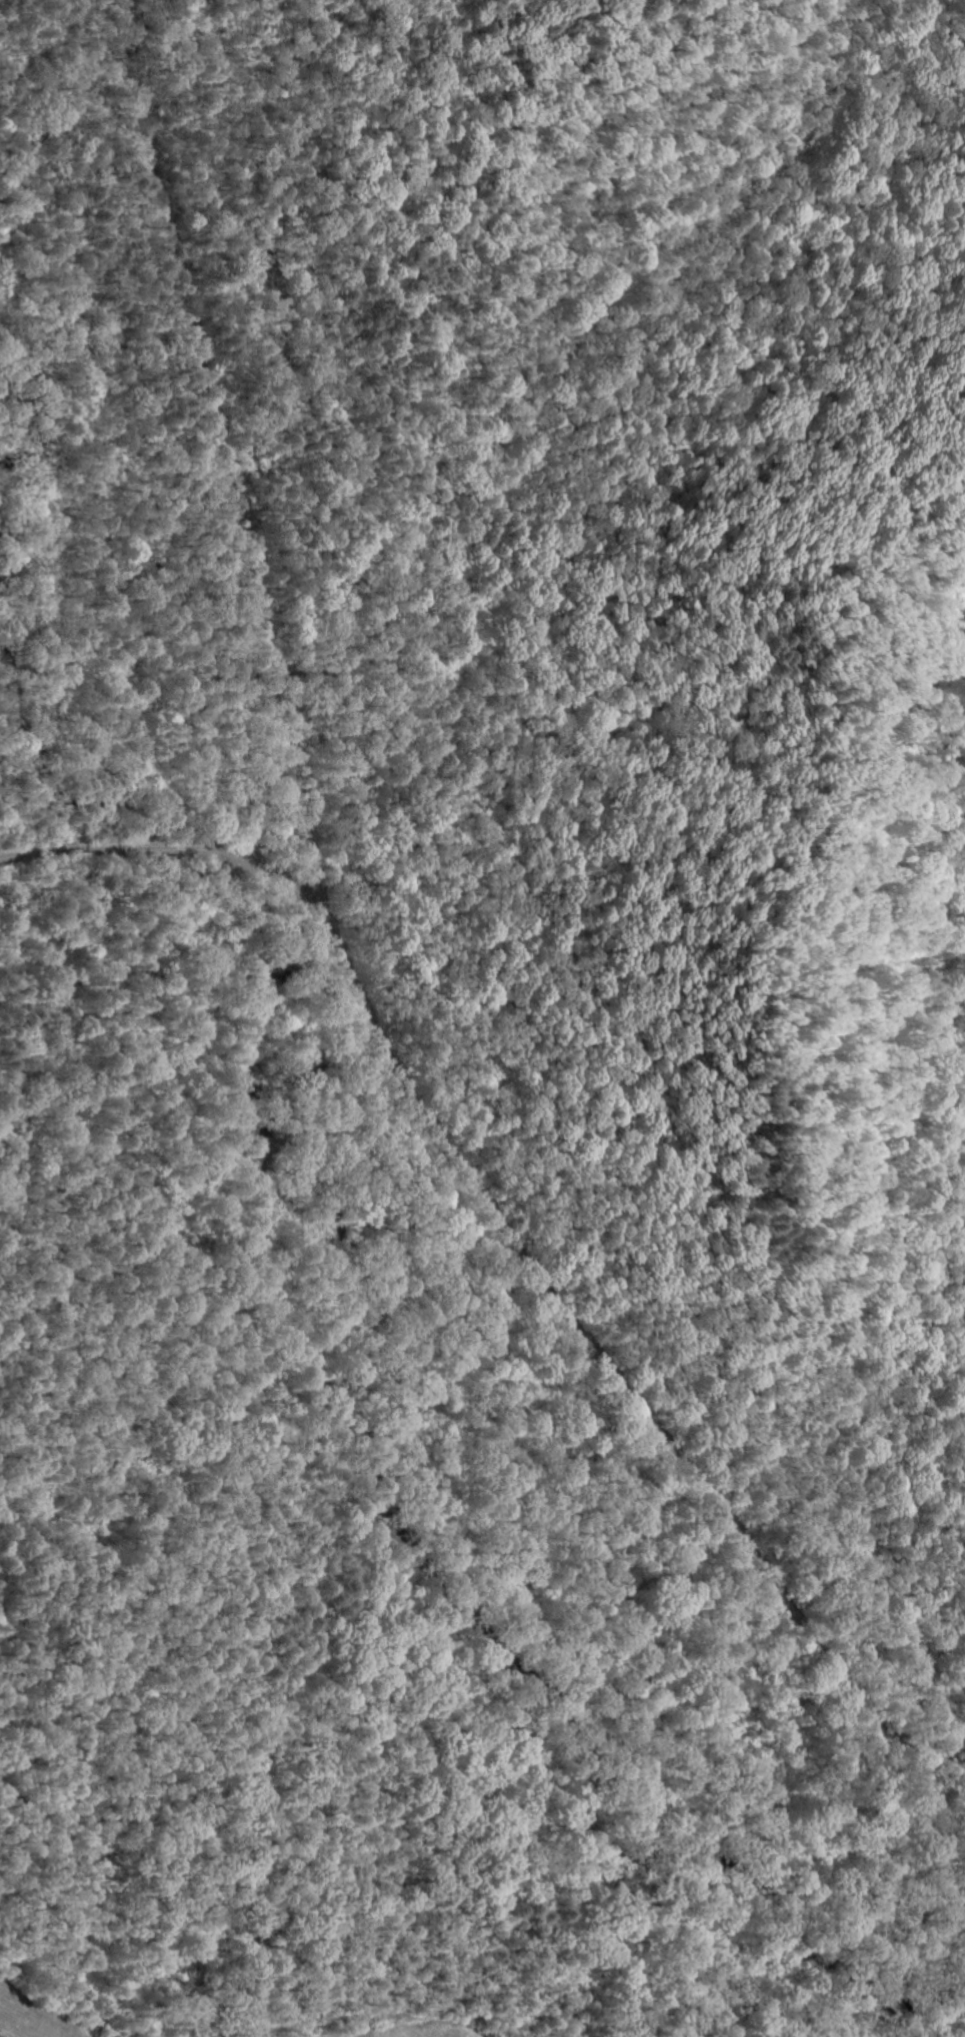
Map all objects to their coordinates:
road: (225, 446)
road: (503, 1235)

